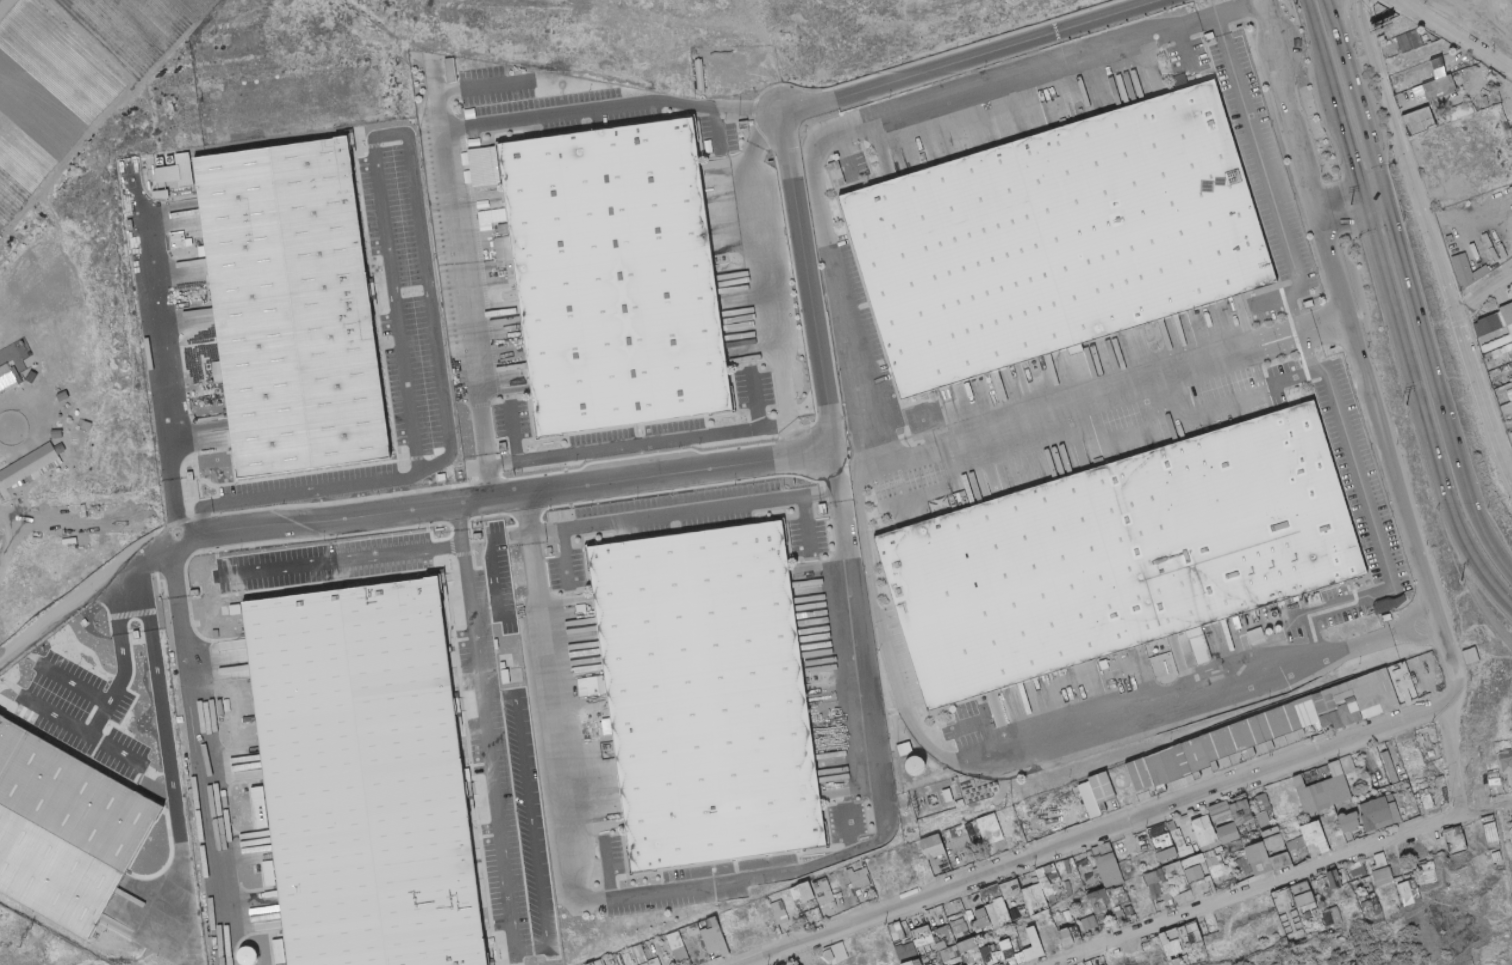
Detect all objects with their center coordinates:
crop: (2, 2)
power tower: (1298, 3)
crop: (141, 27)
parking lot: (528, 89)
crop: (47, 104)
power tower: (1351, 202)
parking lot: (394, 337)
power tower: (1403, 403)
power tower: (1456, 580)

